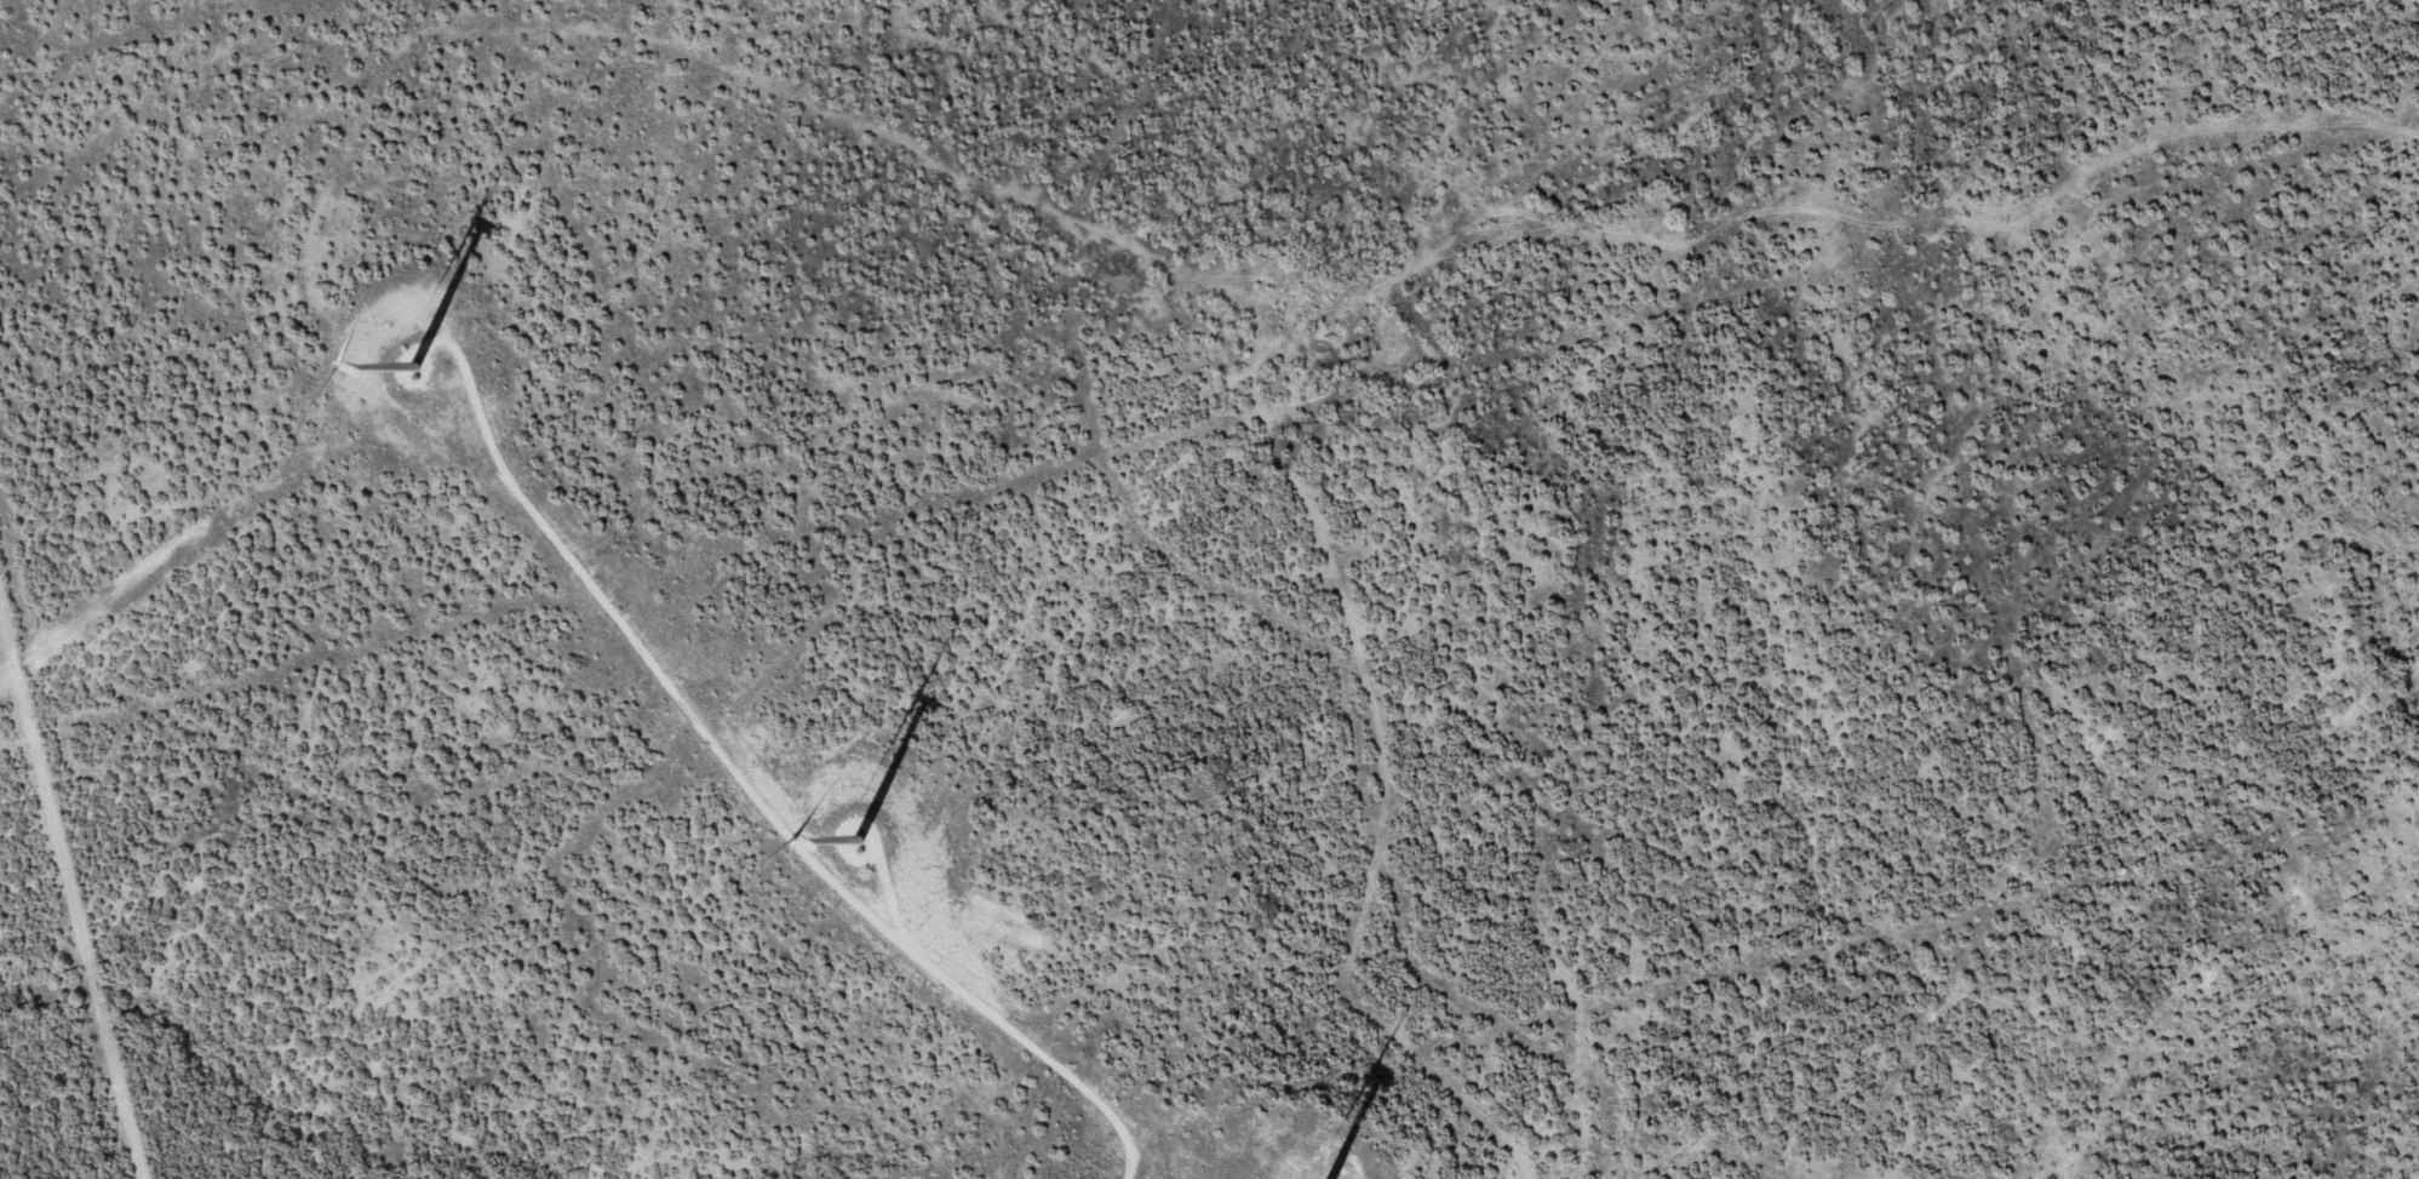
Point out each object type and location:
wind turbine: (412, 368)
wind turbine: (850, 842)

